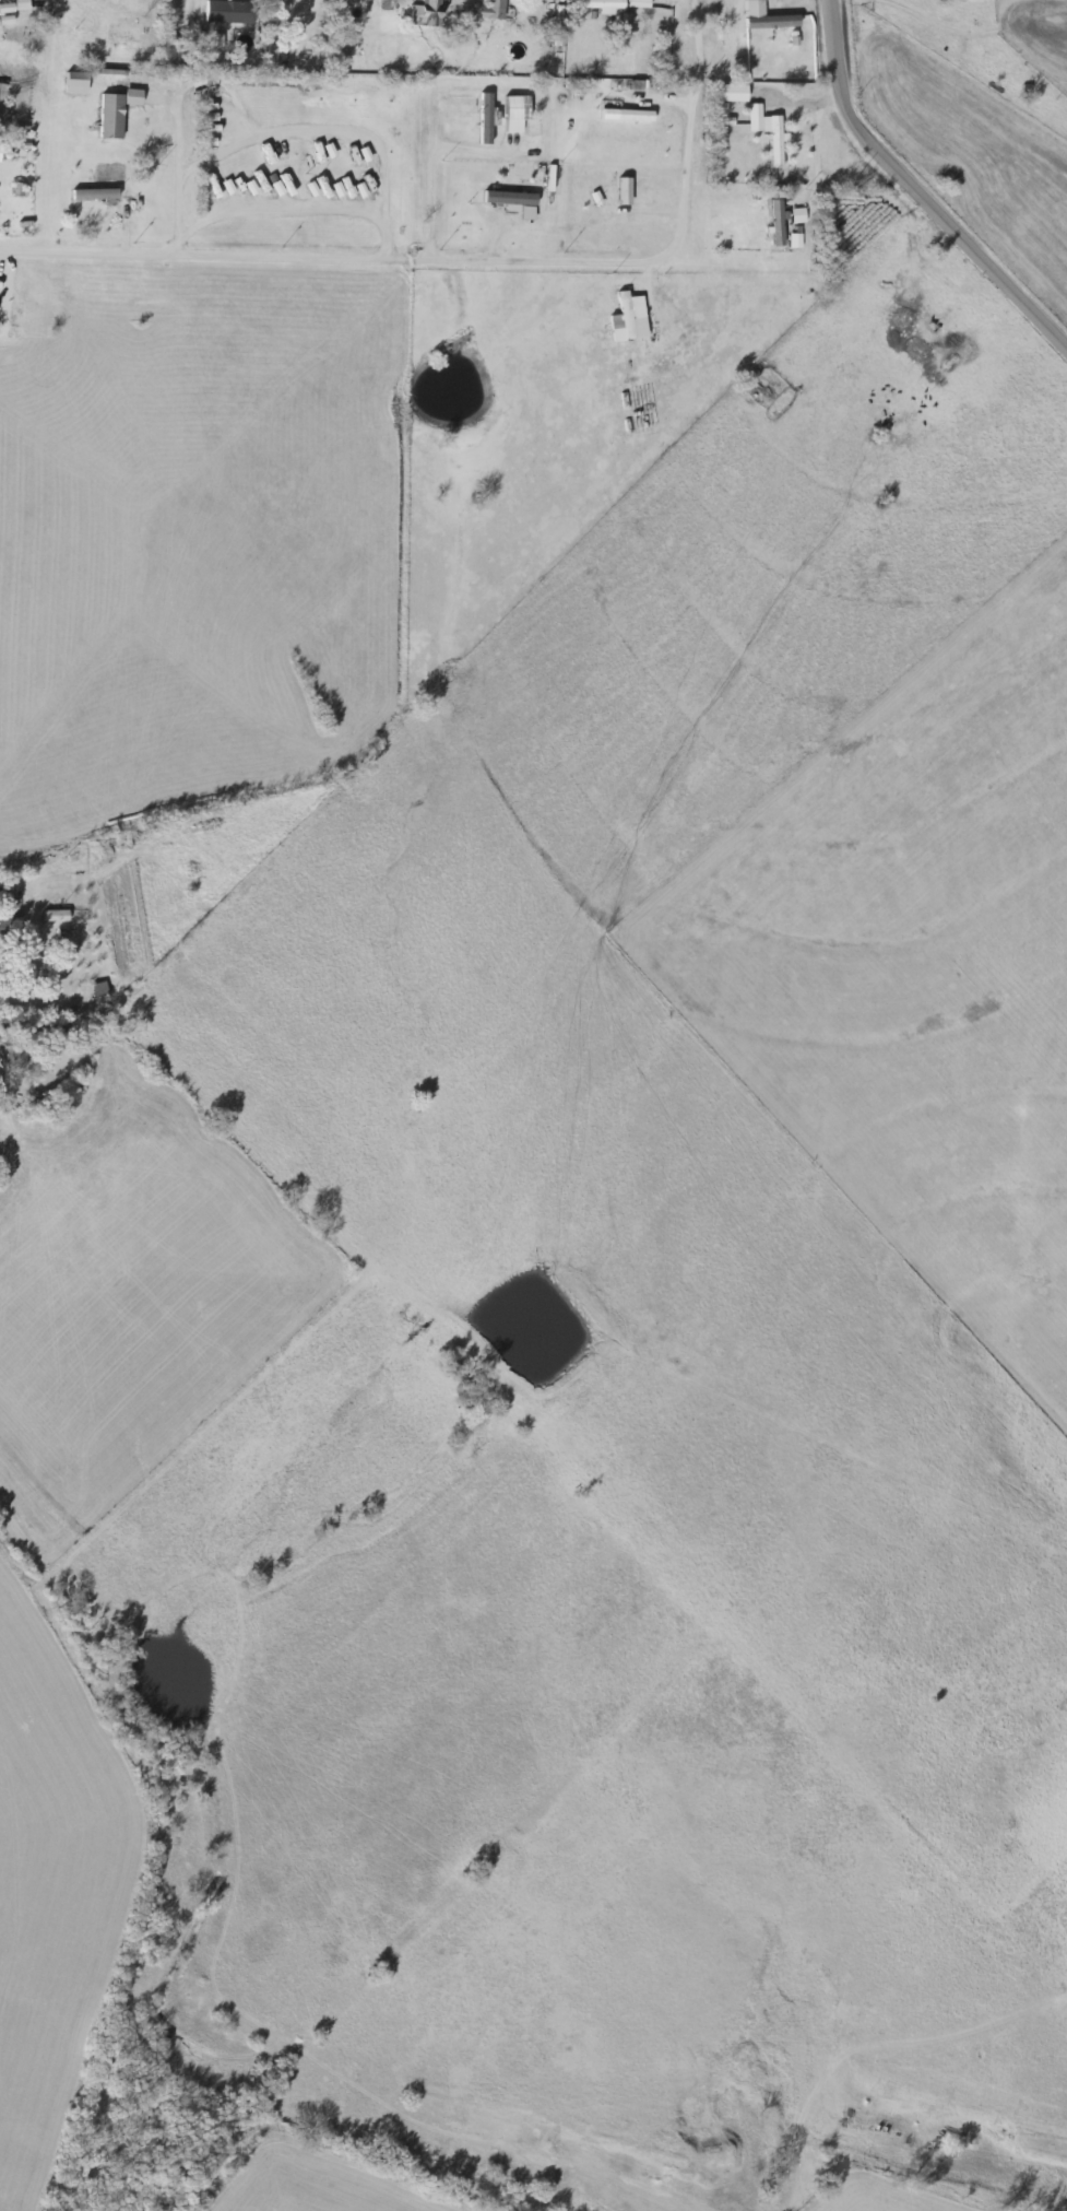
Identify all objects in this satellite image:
building: (635, 3)
building: (596, 4)
building: (489, 11)
building: (224, 12)
building: (424, 14)
building: (766, 22)
building: (168, 51)
building: (725, 96)
building: (623, 116)
building: (106, 117)
road: (310, 133)
building: (763, 133)
road: (175, 180)
road: (914, 190)
building: (91, 196)
road: (292, 211)
building: (794, 216)
building: (772, 224)
building: (794, 242)
road: (213, 259)
road: (620, 267)
building: (42, 899)
building: (3, 929)
building: (96, 990)

